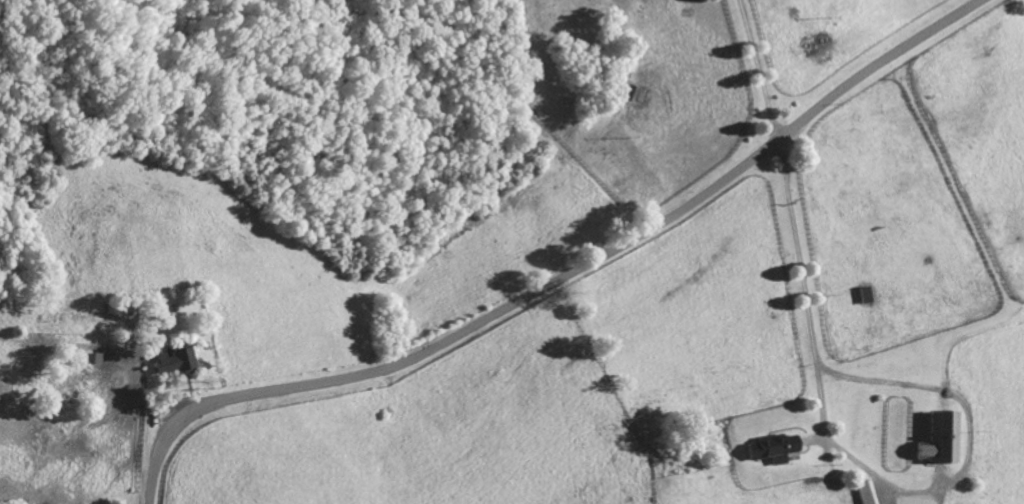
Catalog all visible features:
road: (752, 71)
road: (561, 277)
building: (179, 361)
building: (936, 439)
building: (767, 448)
road: (859, 465)
building: (864, 492)

